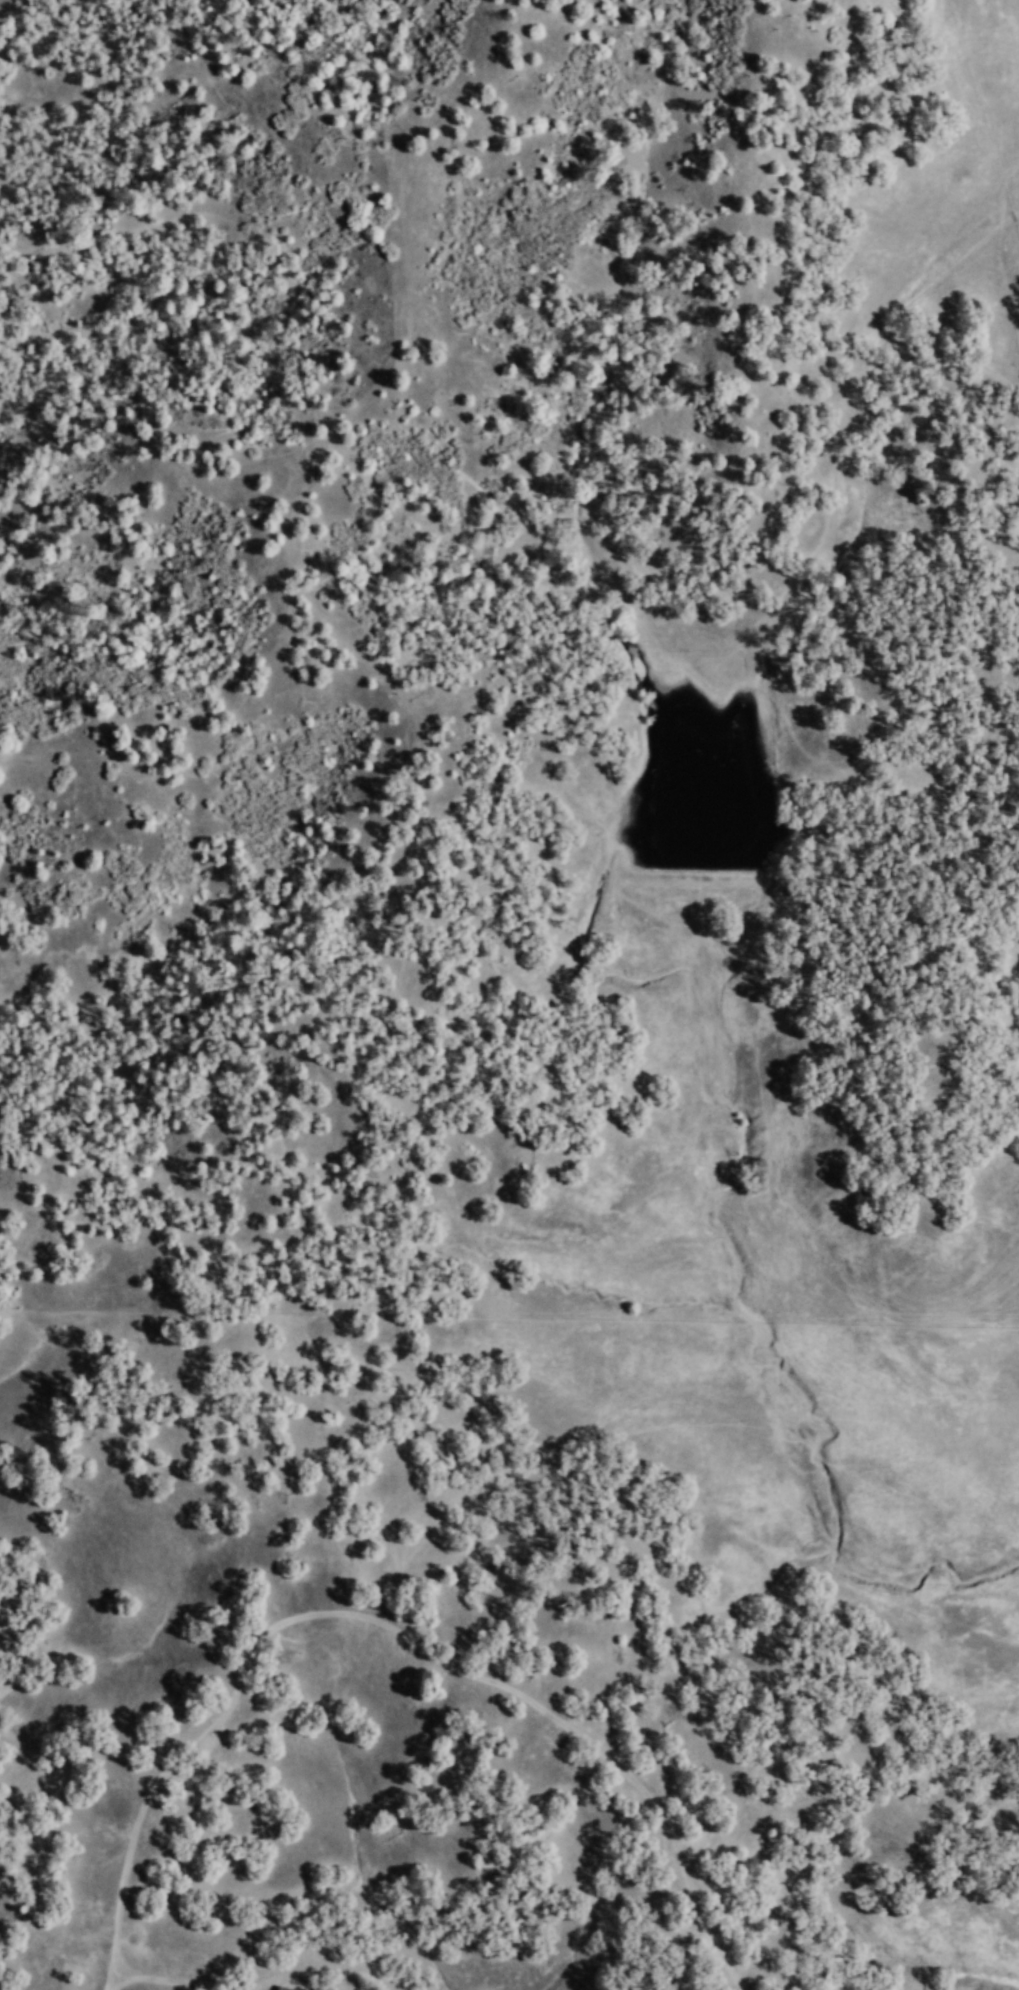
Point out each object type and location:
road: (382, 1623)
road: (161, 1978)
building: (278, 1988)

